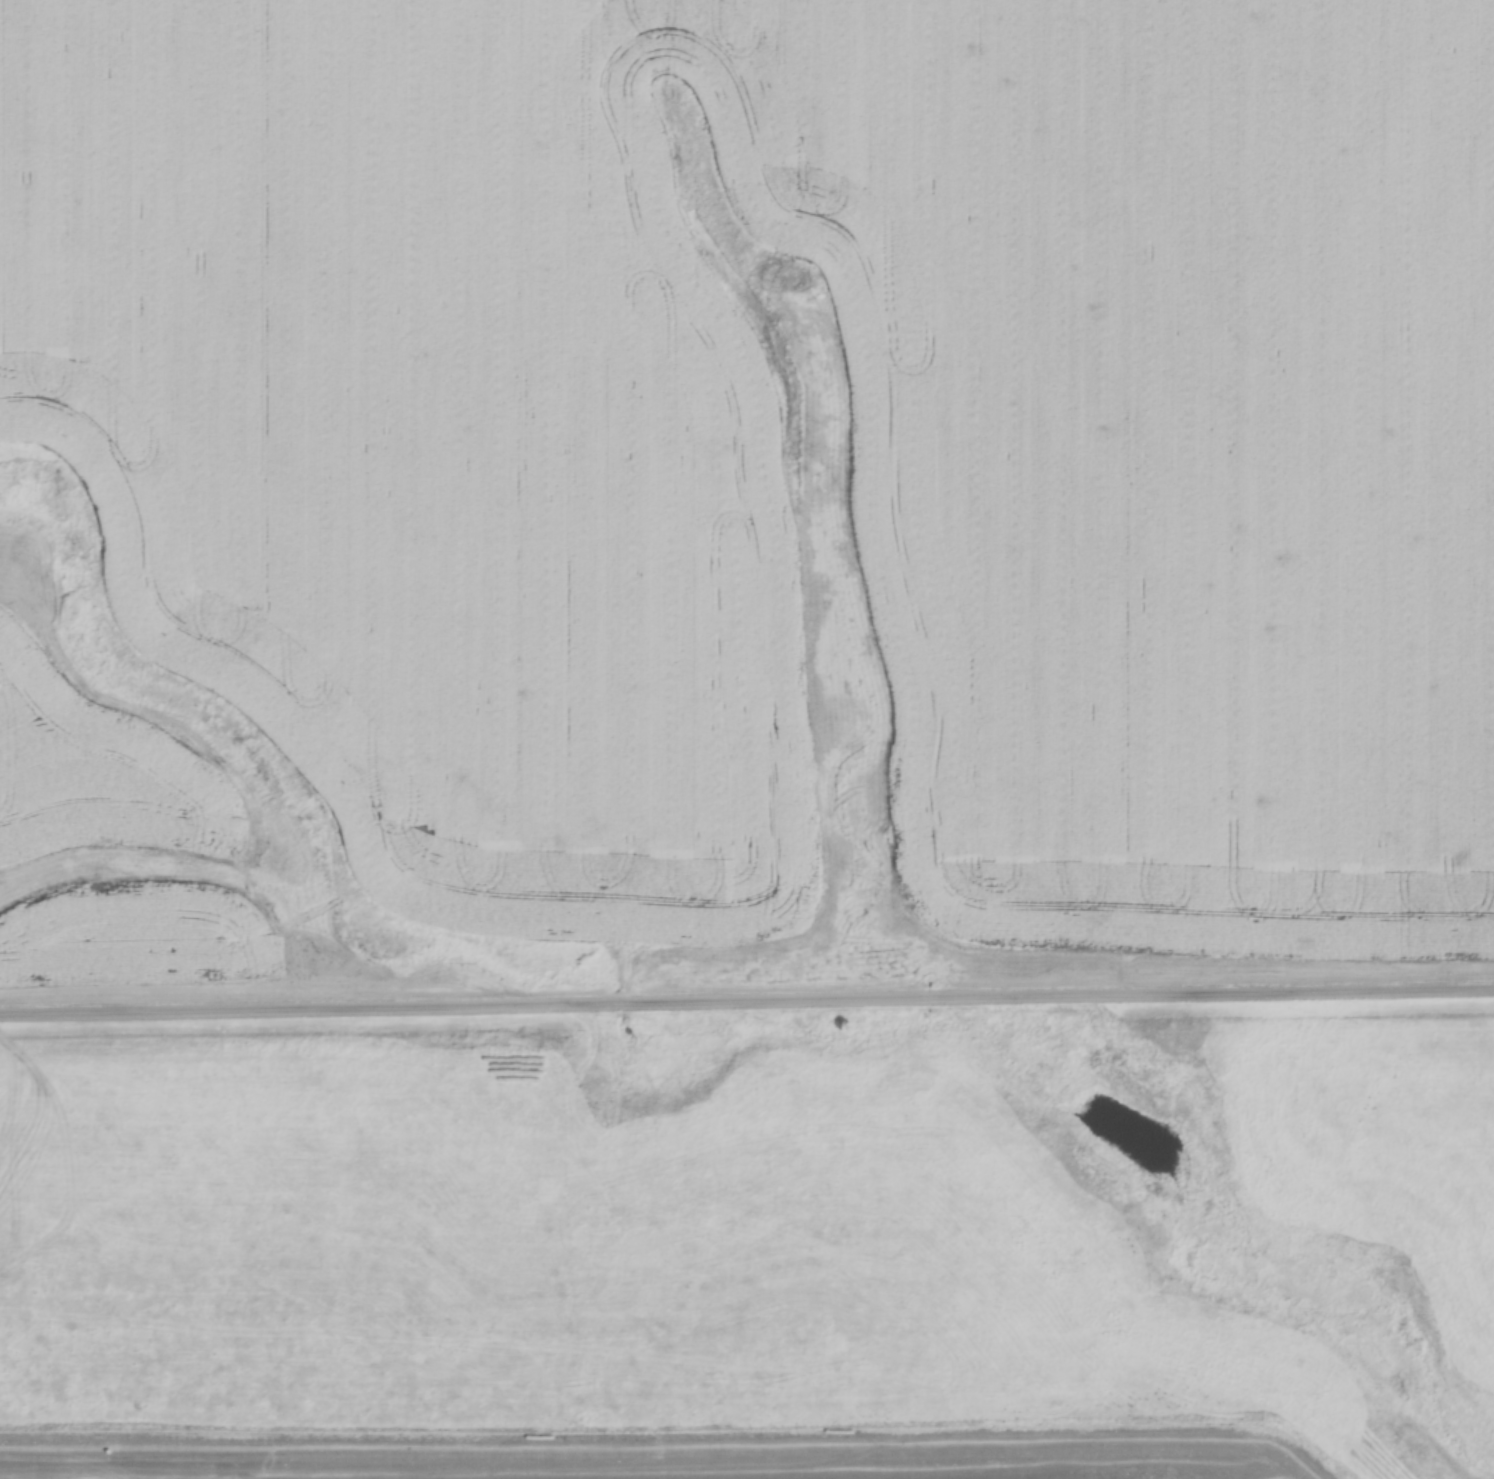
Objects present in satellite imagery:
road: (747, 1003)

